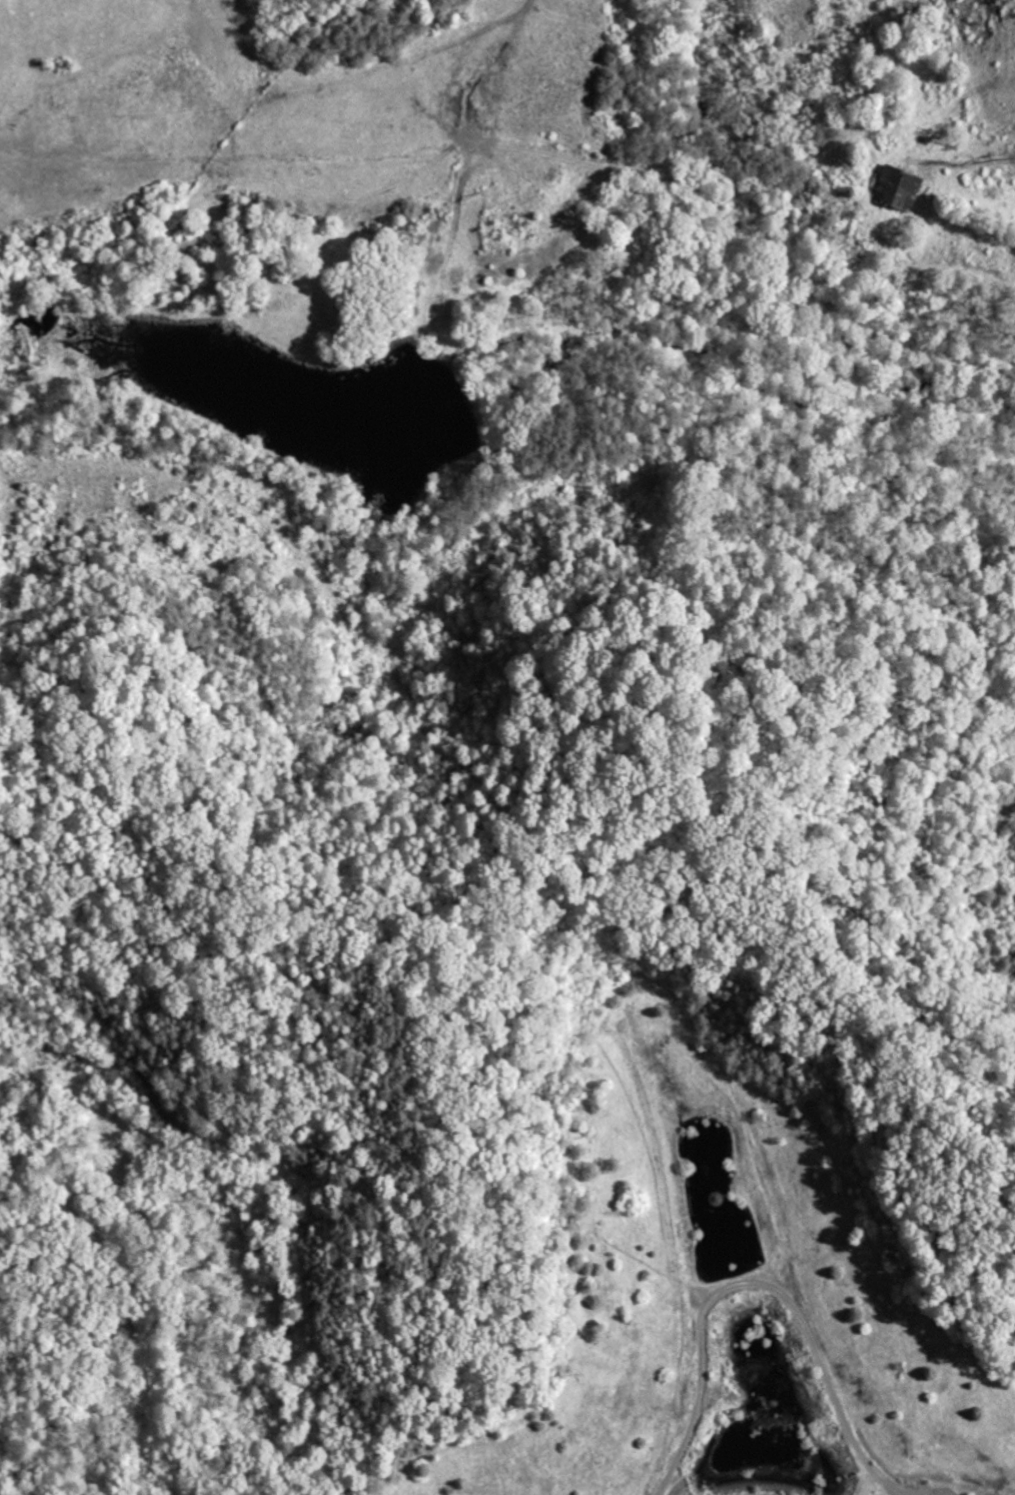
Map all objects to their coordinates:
building: (896, 188)

